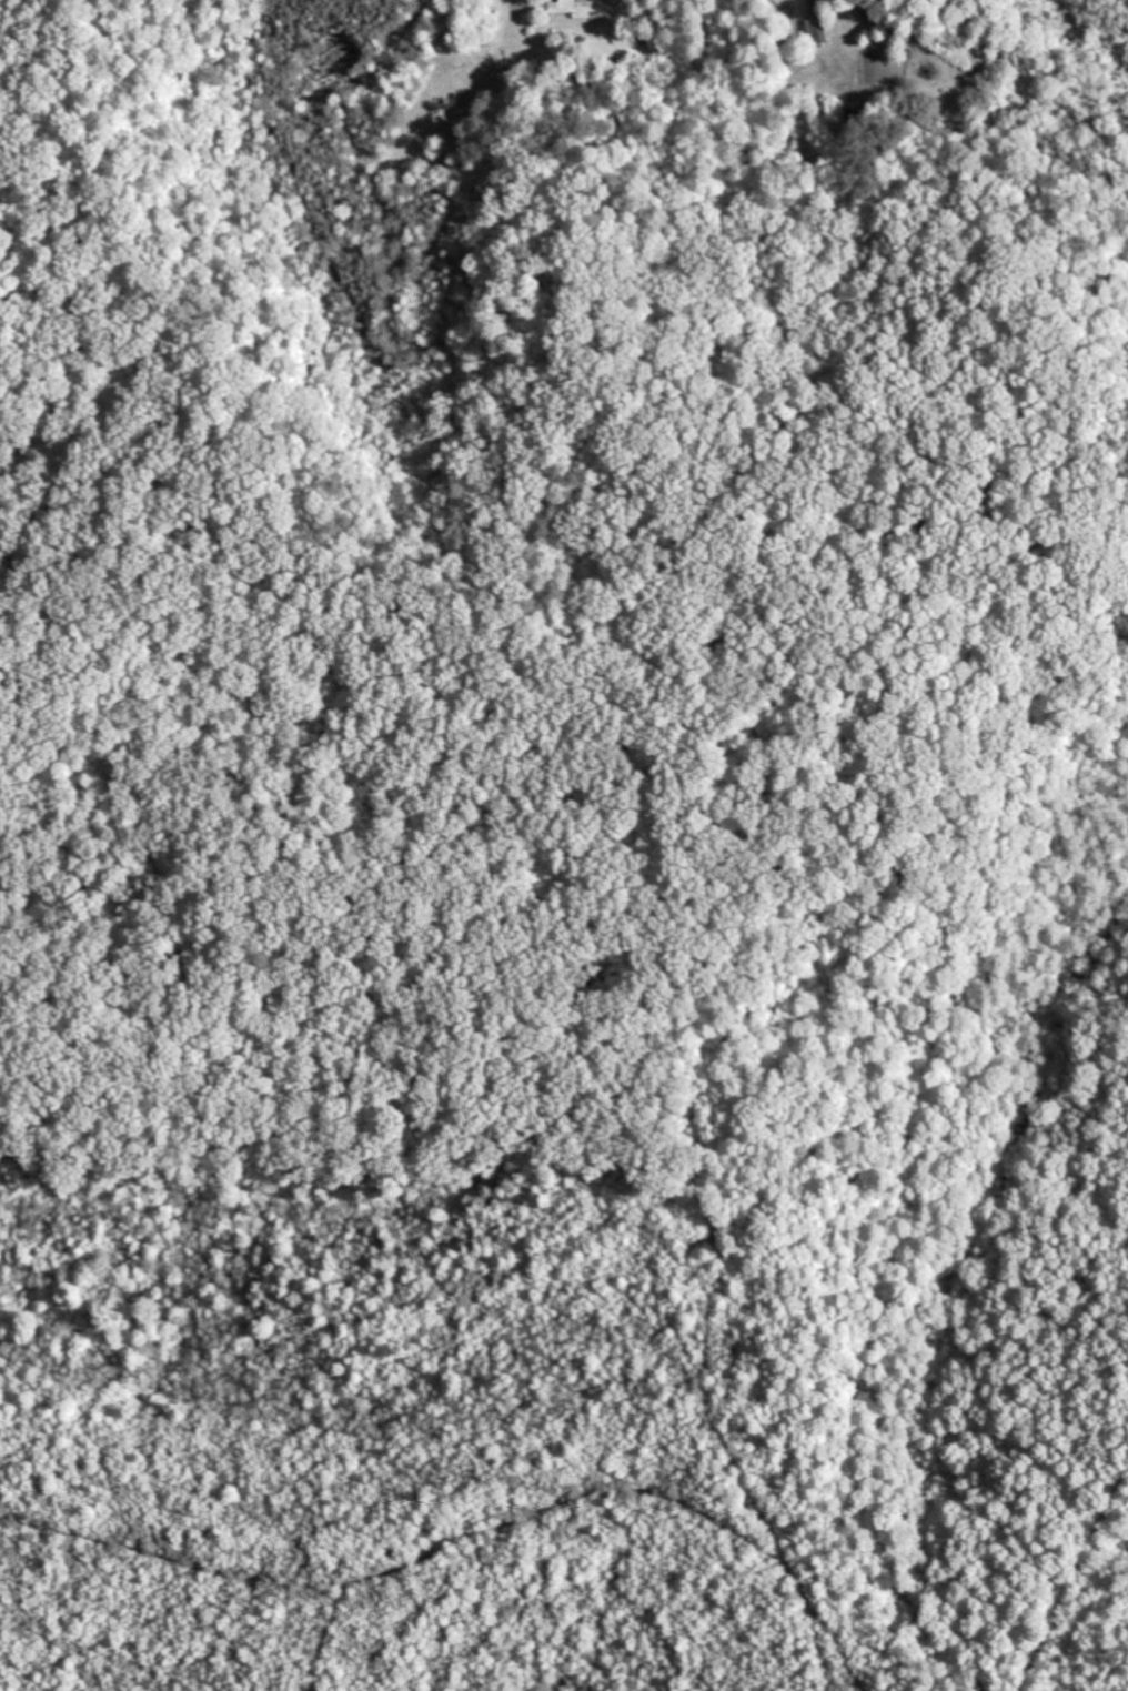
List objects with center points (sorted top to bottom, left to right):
building: (582, 7)

